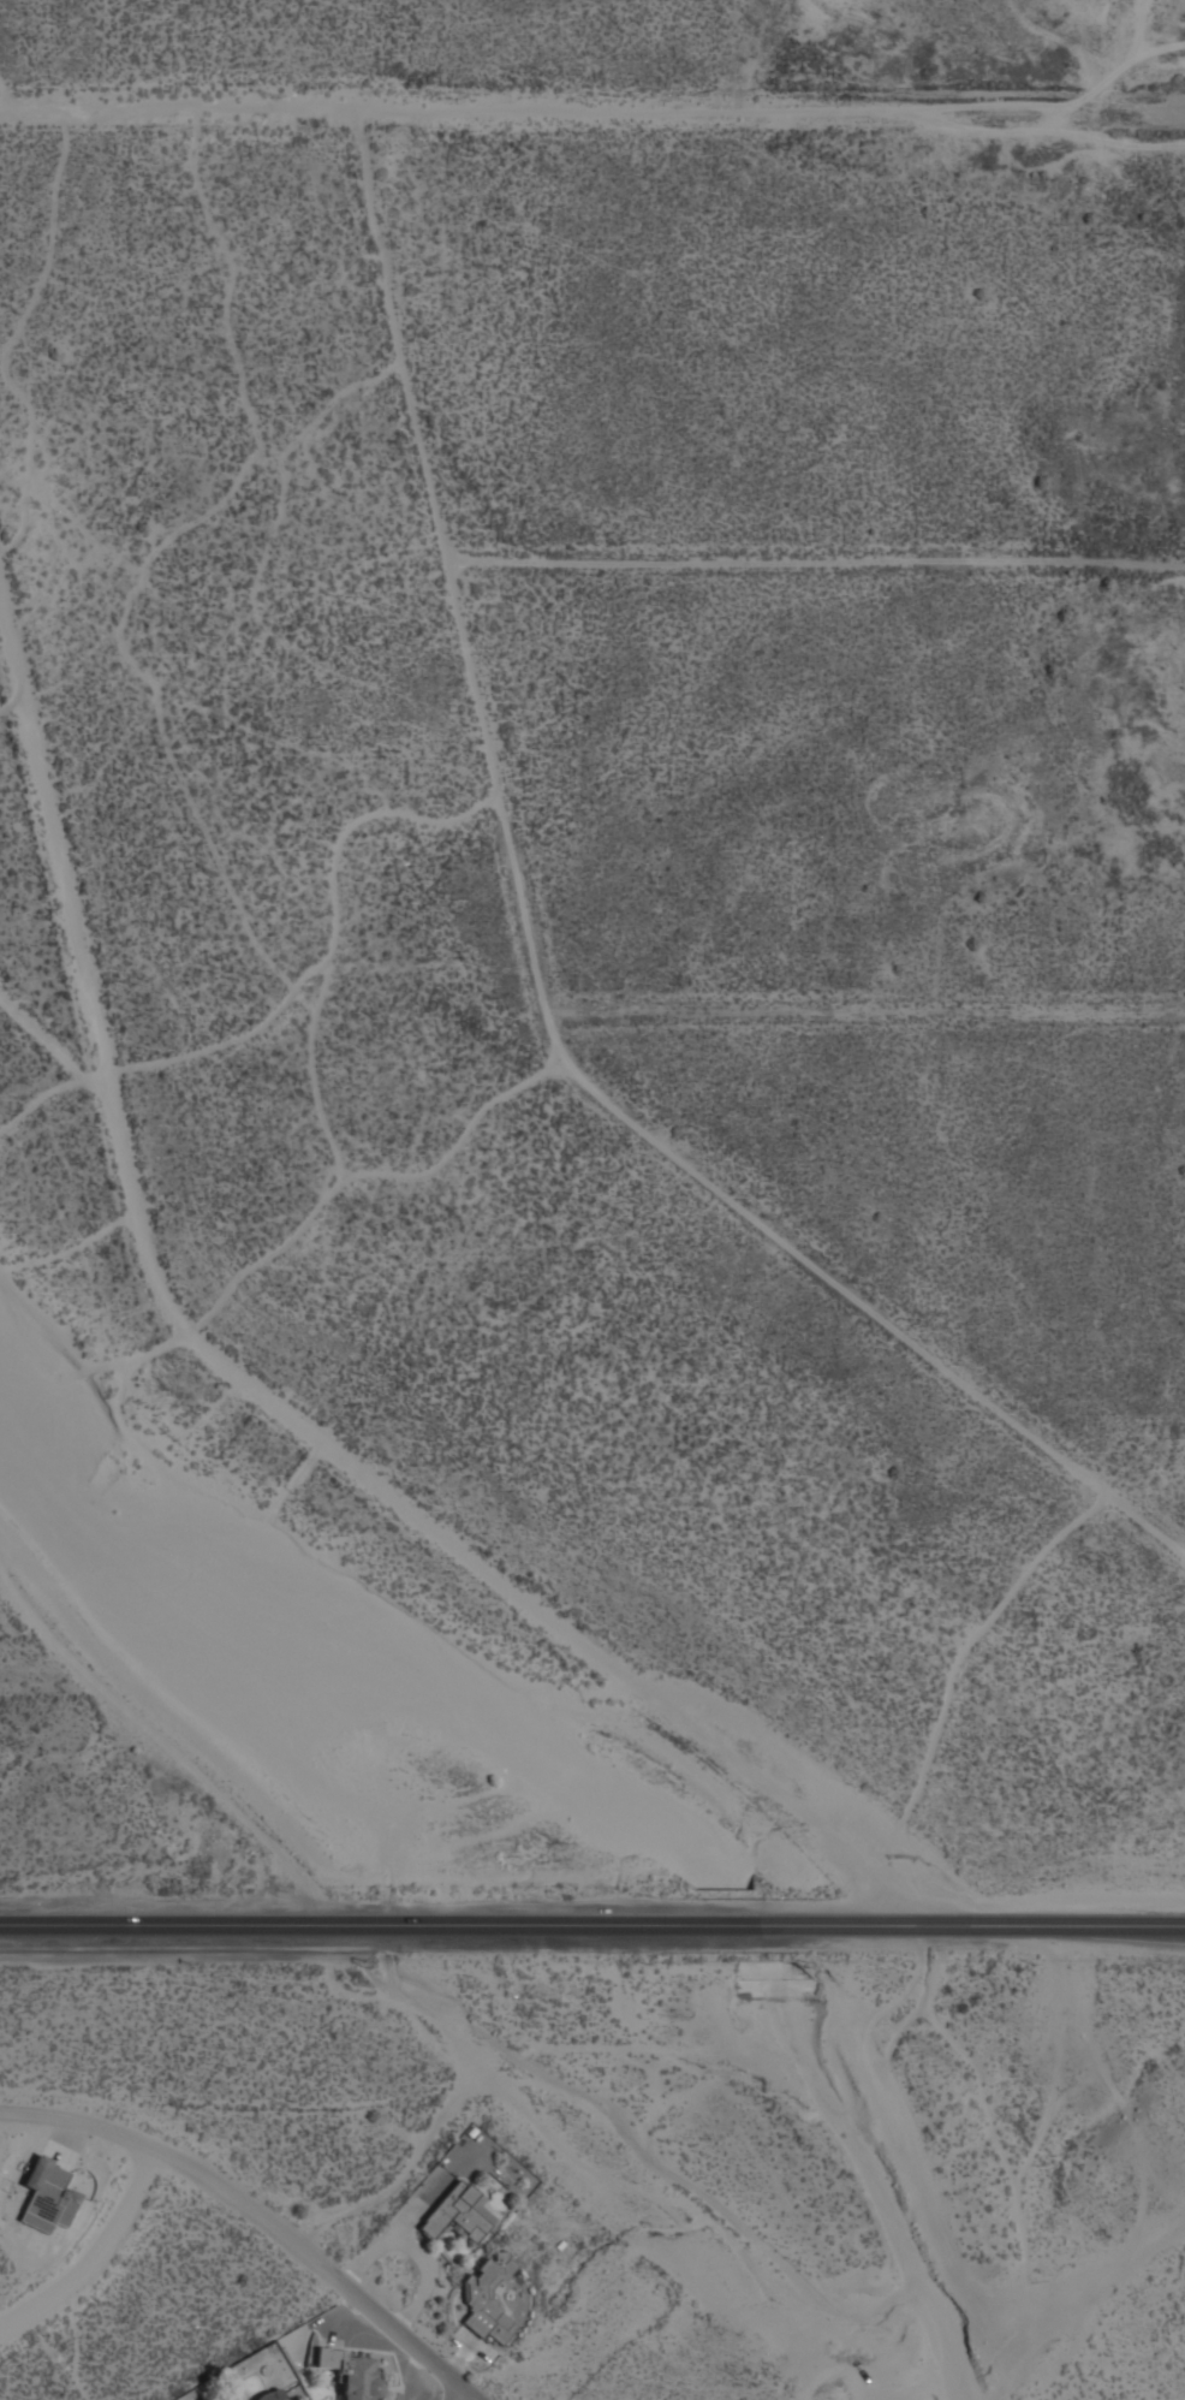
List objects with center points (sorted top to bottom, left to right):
road: (169, 1289)
river: (320, 1705)
road: (592, 1923)
river: (750, 1929)
river: (883, 2175)
building: (48, 2196)
building: (458, 2210)
road: (258, 2215)
road: (96, 2255)
building: (487, 2299)
road: (1032, 2311)
building: (352, 2372)
building: (272, 2394)
road: (474, 2399)

